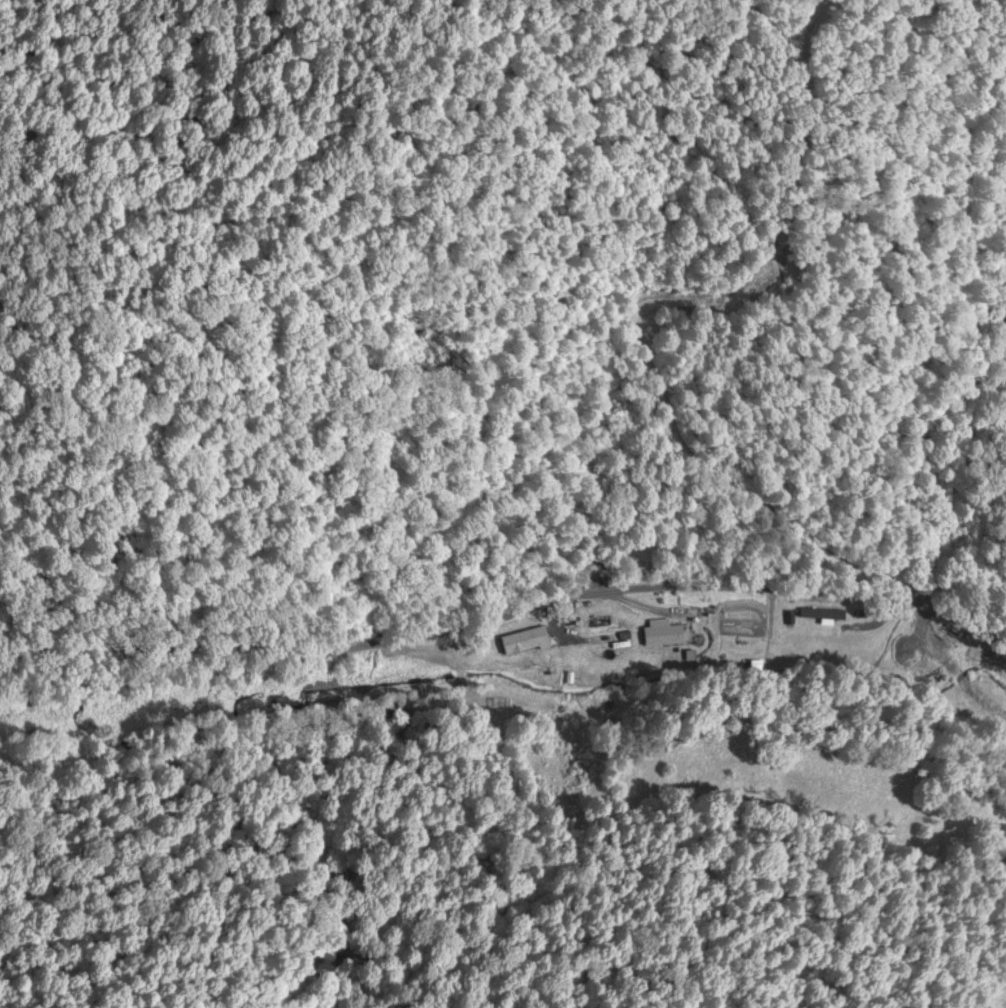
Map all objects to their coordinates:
road: (508, 614)
building: (670, 633)

